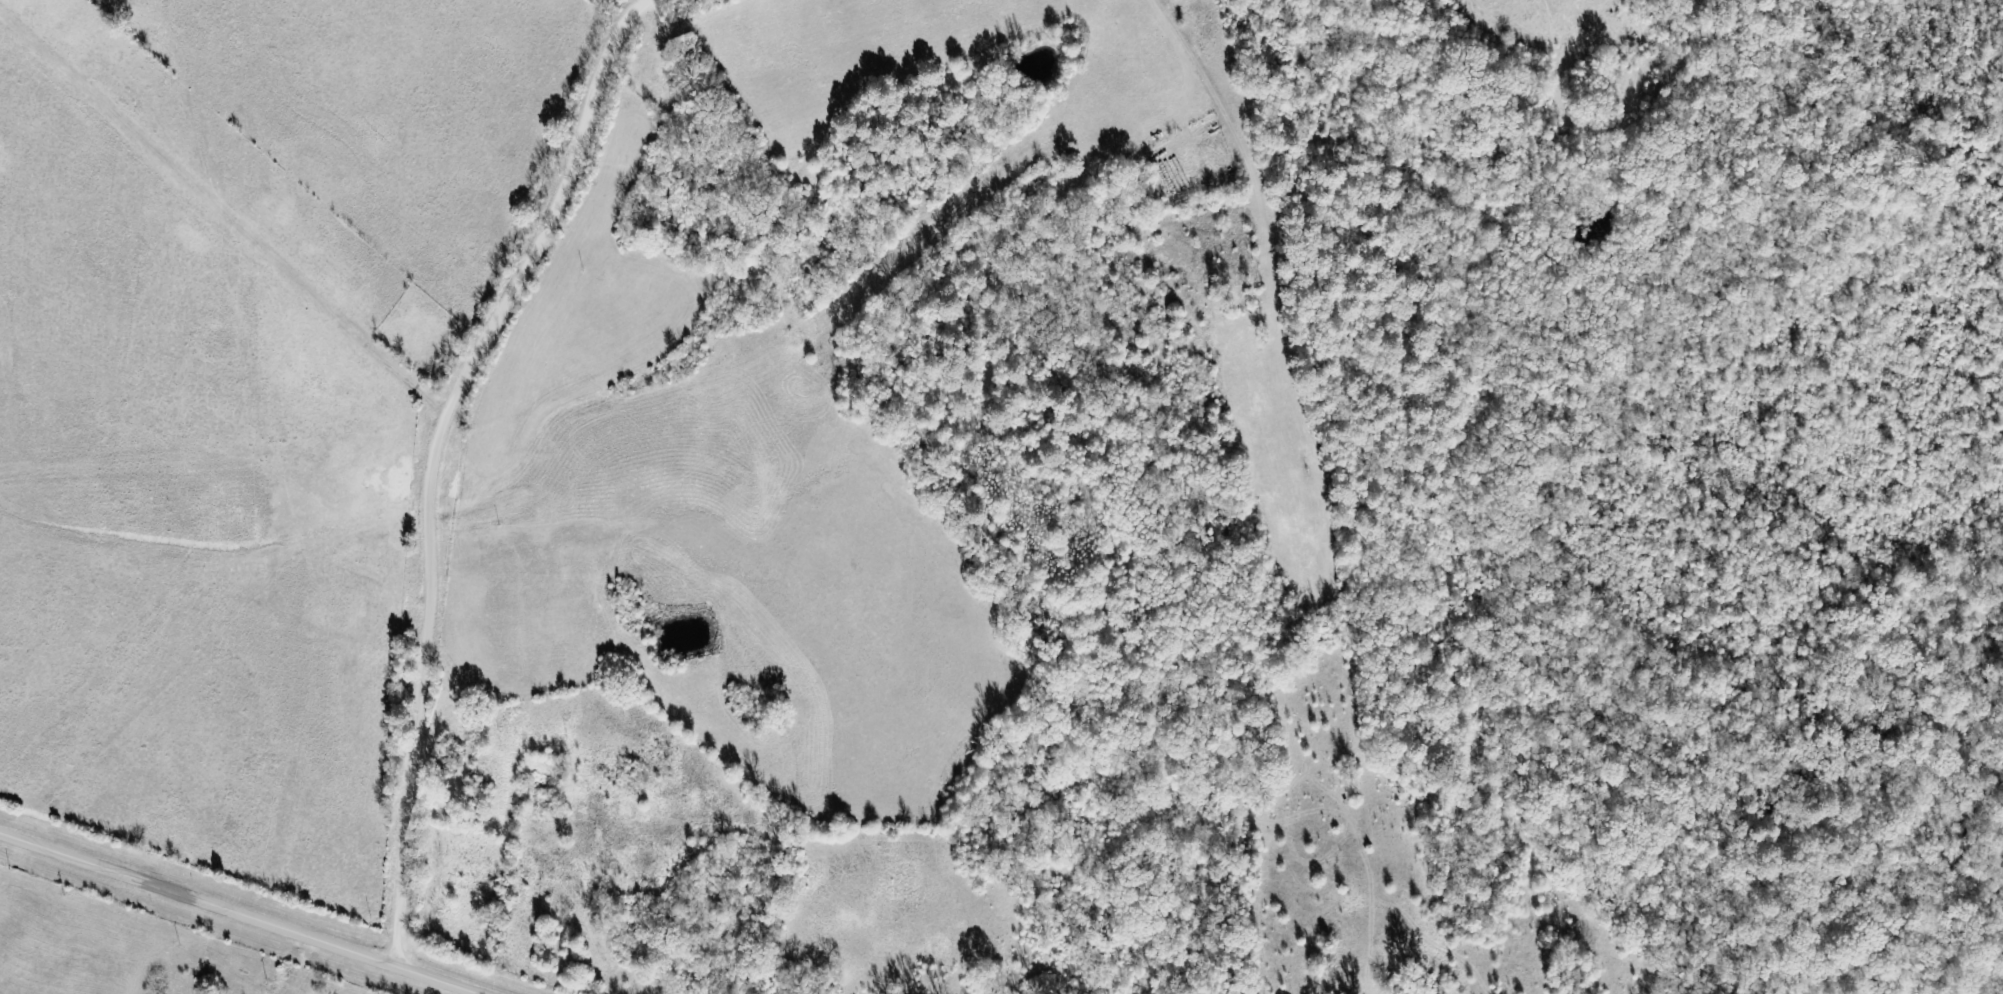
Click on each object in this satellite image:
road: (417, 427)
road: (238, 917)

